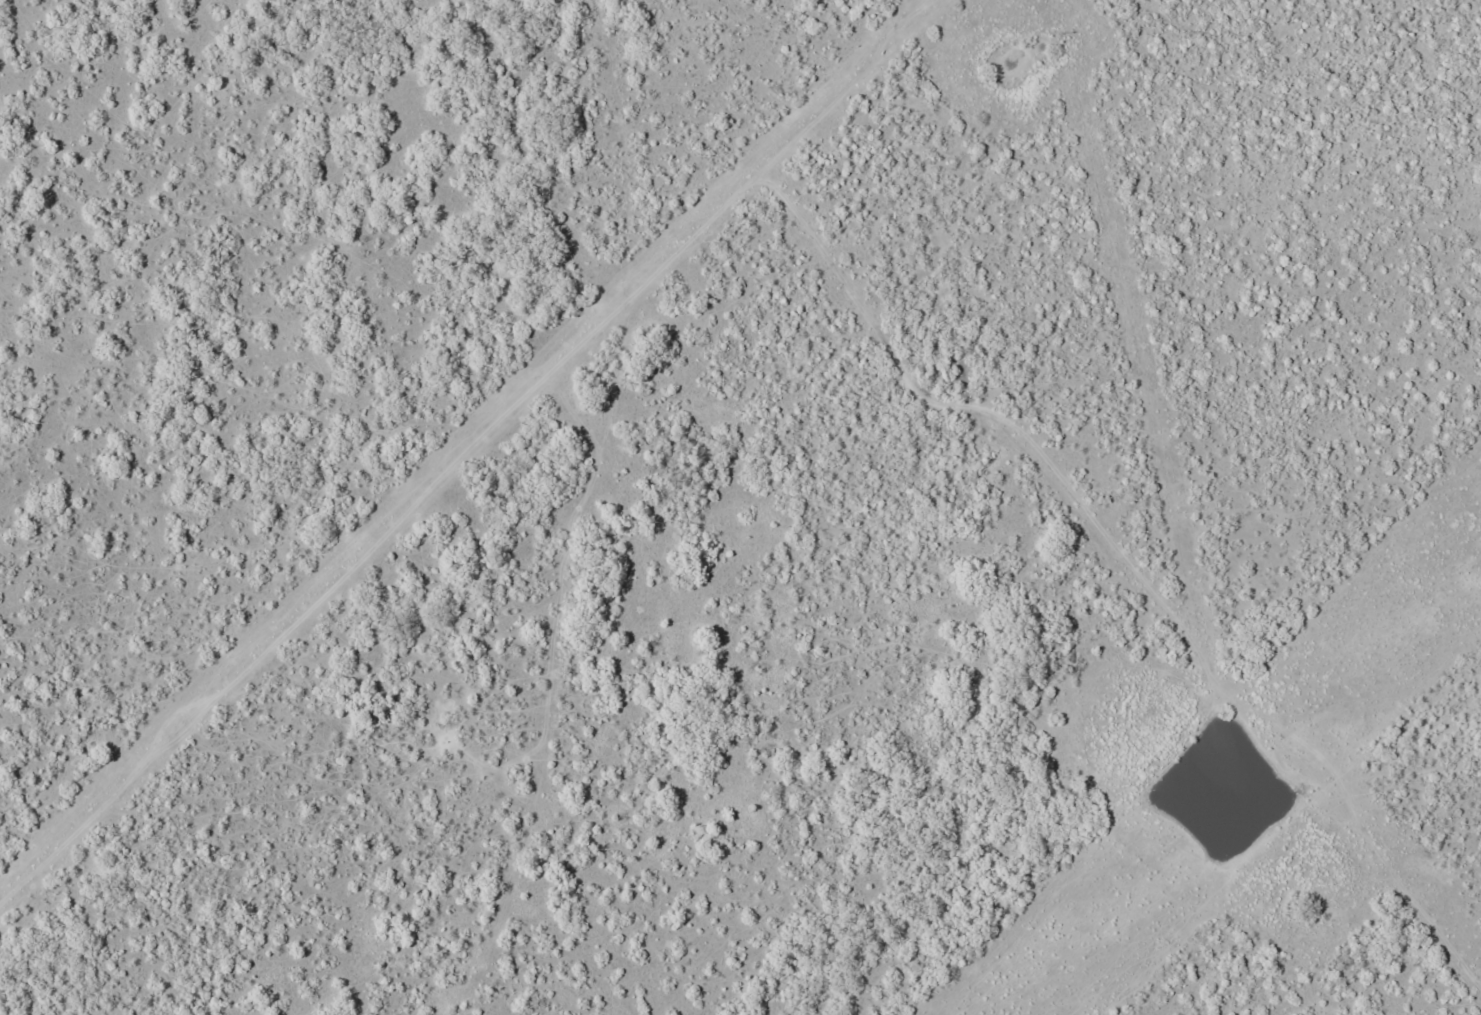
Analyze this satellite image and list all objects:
road: (470, 458)

